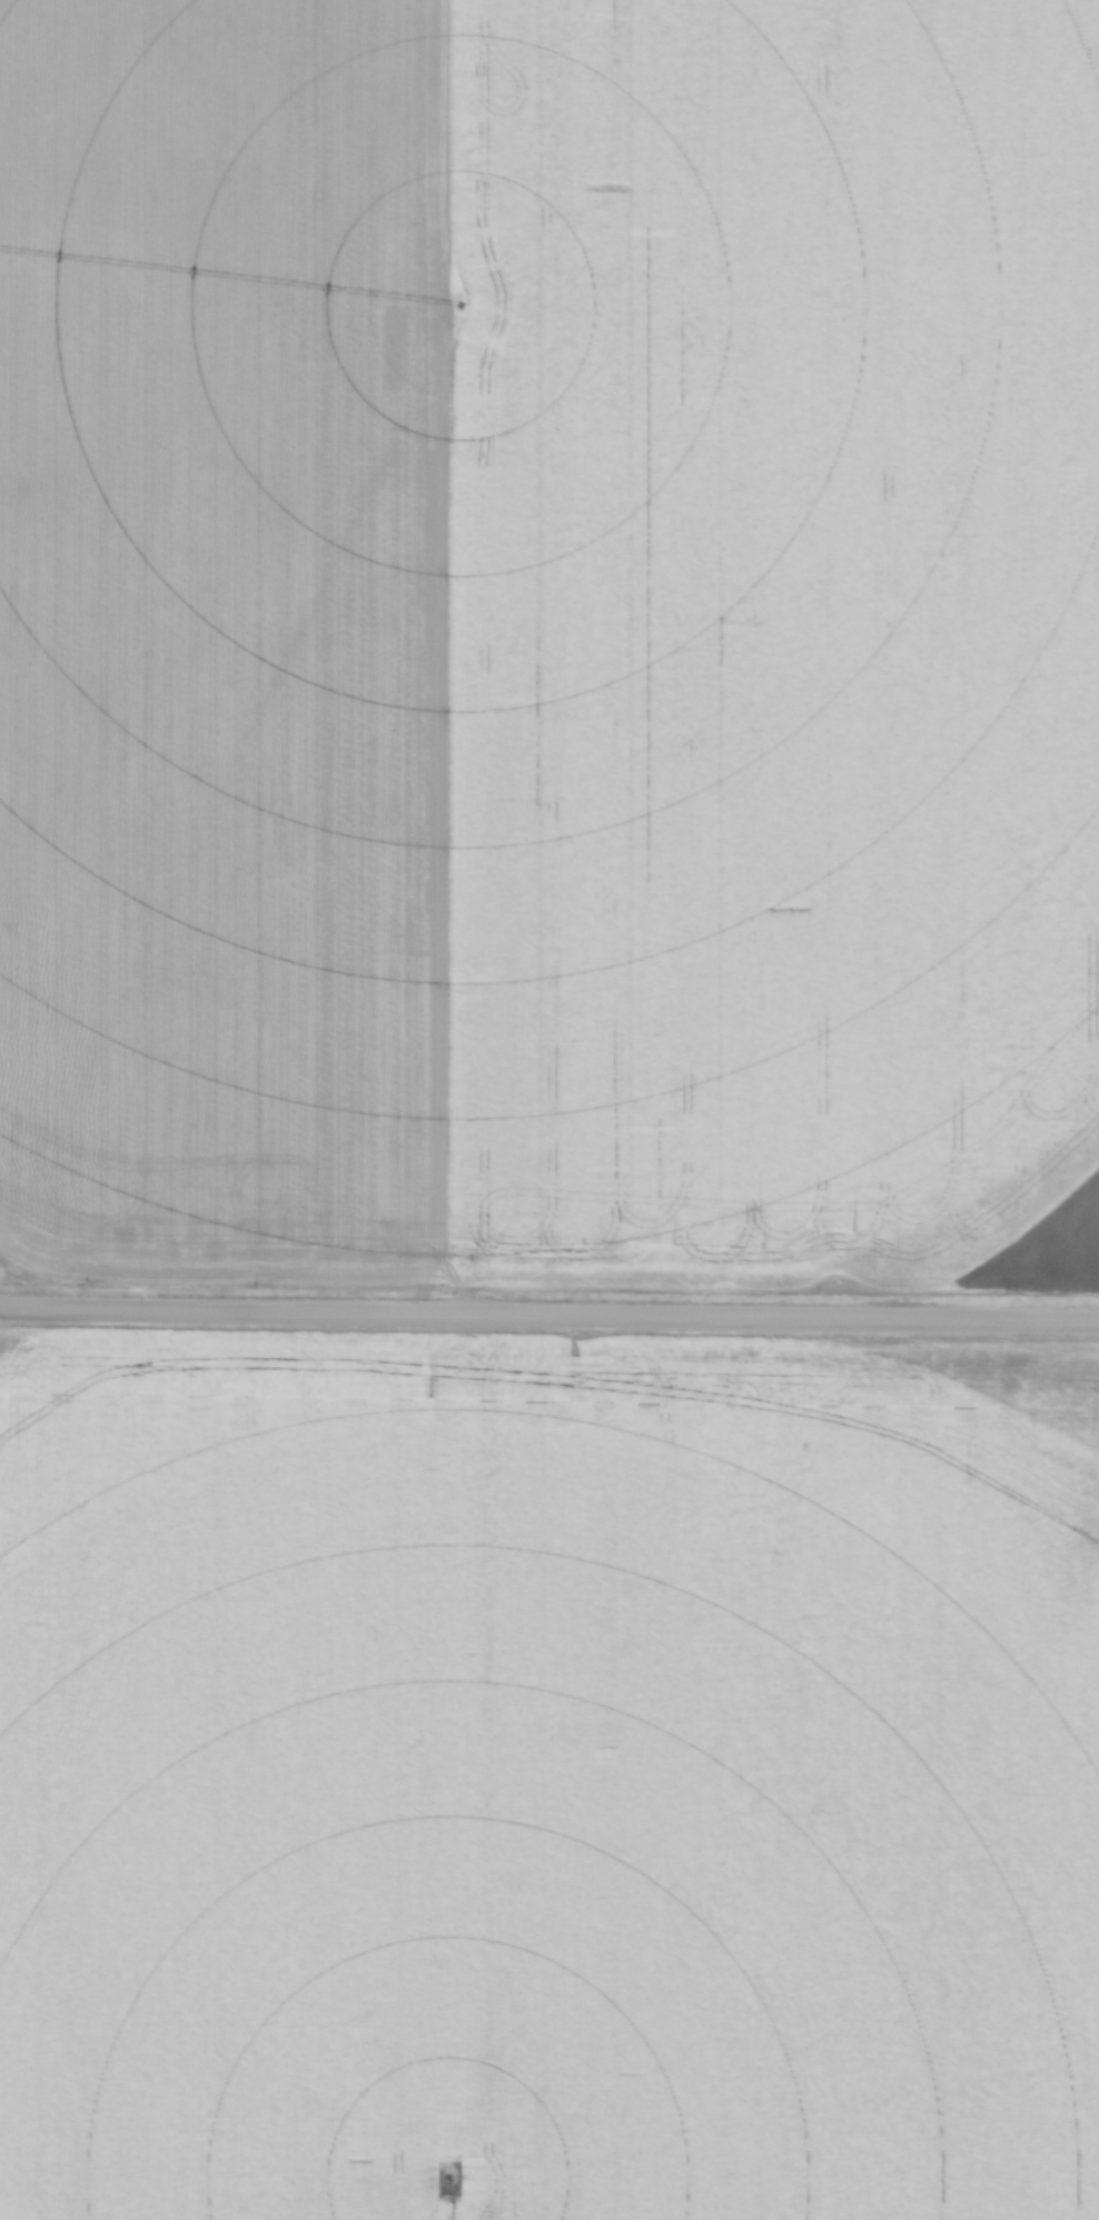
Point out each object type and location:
crop: (549, 638)
road: (548, 1314)
crop: (543, 1788)

